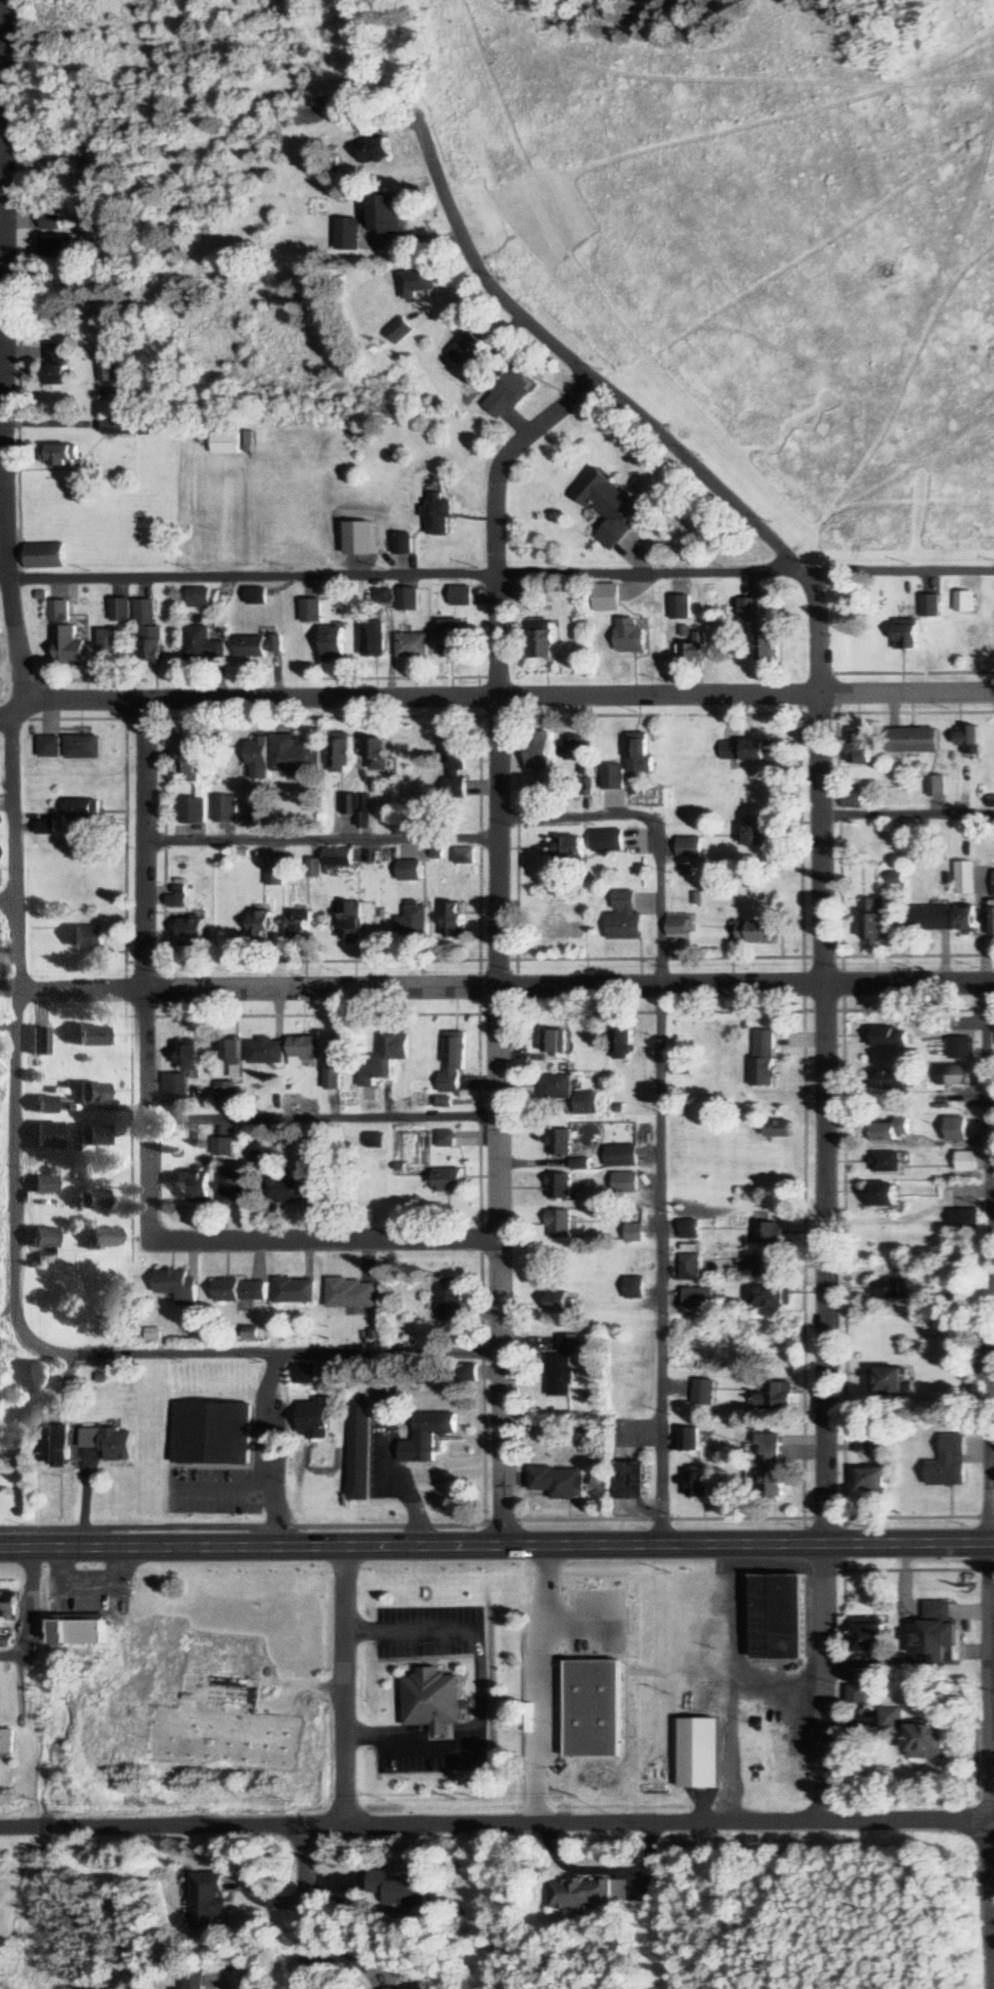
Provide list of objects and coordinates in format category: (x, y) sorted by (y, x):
building: (374, 153)
building: (386, 217)
building: (52, 222)
building: (346, 235)
building: (55, 251)
building: (418, 284)
building: (400, 331)
building: (472, 354)
building: (58, 366)
building: (109, 374)
building: (509, 396)
building: (119, 428)
road: (4, 438)
building: (227, 444)
building: (251, 444)
building: (62, 454)
building: (608, 506)
building: (438, 514)
building: (402, 543)
building: (46, 556)
road: (746, 575)
road: (254, 578)
building: (256, 596)
building: (461, 596)
building: (198, 598)
building: (407, 599)
building: (606, 599)
building: (966, 602)
building: (932, 606)
building: (120, 610)
building: (311, 610)
building: (59, 611)
building: (750, 611)
building: (149, 632)
building: (630, 635)
building: (907, 636)
building: (373, 638)
building: (447, 638)
building: (541, 640)
building: (332, 644)
building: (202, 645)
building: (412, 645)
building: (68, 646)
building: (110, 646)
building: (260, 646)
building: (768, 646)
building: (695, 651)
road: (502, 697)
road: (7, 714)
building: (970, 739)
building: (914, 740)
building: (49, 747)
building: (83, 747)
building: (861, 748)
building: (574, 749)
building: (537, 750)
building: (749, 751)
building: (376, 753)
building: (338, 754)
building: (292, 755)
building: (639, 756)
building: (257, 758)
building: (187, 760)
building: (453, 767)
building: (612, 777)
building: (936, 785)
building: (854, 800)
building: (356, 807)
building: (224, 808)
building: (83, 810)
building: (192, 810)
road: (908, 812)
building: (44, 828)
building: (758, 832)
road: (321, 838)
building: (607, 840)
road: (145, 843)
building: (567, 848)
building: (691, 848)
building: (463, 856)
building: (336, 859)
building: (408, 871)
building: (964, 878)
building: (993, 884)
road: (822, 885)
road: (7, 902)
road: (15, 912)
building: (625, 918)
building: (928, 918)
building: (992, 918)
building: (350, 920)
building: (454, 920)
building: (964, 921)
building: (258, 922)
building: (413, 922)
building: (872, 922)
building: (298, 925)
building: (570, 925)
building: (680, 926)
building: (192, 929)
building: (753, 932)
building: (86, 937)
road: (498, 939)
road: (505, 988)
building: (88, 1036)
building: (885, 1036)
building: (622, 1041)
building: (35, 1042)
building: (555, 1042)
building: (960, 1047)
building: (271, 1050)
building: (304, 1051)
building: (231, 1056)
building: (190, 1057)
building: (385, 1058)
building: (762, 1058)
building: (454, 1061)
building: (677, 1066)
building: (955, 1074)
building: (889, 1079)
building: (556, 1088)
building: (177, 1090)
building: (88, 1093)
building: (227, 1095)
building: (586, 1103)
building: (40, 1105)
road: (661, 1105)
road: (147, 1115)
road: (323, 1117)
building: (772, 1129)
building: (954, 1129)
building: (887, 1131)
building: (43, 1136)
building: (89, 1136)
building: (377, 1141)
building: (560, 1143)
building: (224, 1146)
building: (261, 1153)
building: (621, 1157)
building: (884, 1162)
building: (964, 1162)
building: (450, 1181)
building: (625, 1184)
building: (40, 1186)
building: (190, 1186)
building: (232, 1186)
building: (560, 1187)
building: (286, 1190)
building: (880, 1196)
building: (88, 1200)
building: (961, 1220)
building: (560, 1226)
building: (688, 1230)
building: (767, 1233)
building: (634, 1234)
building: (39, 1239)
building: (99, 1239)
road: (324, 1241)
road: (987, 1264)
building: (690, 1268)
building: (767, 1268)
building: (177, 1287)
building: (634, 1289)
building: (889, 1290)
building: (240, 1291)
building: (295, 1291)
building: (352, 1294)
building: (772, 1298)
building: (698, 1299)
building: (451, 1300)
building: (559, 1302)
building: (562, 1367)
building: (305, 1374)
building: (887, 1380)
building: (704, 1394)
building: (776, 1396)
building: (313, 1417)
building: (211, 1433)
building: (426, 1436)
building: (690, 1440)
building: (107, 1442)
building: (53, 1446)
building: (359, 1448)
building: (955, 1460)
building: (772, 1468)
building: (872, 1479)
building: (630, 1481)
building: (558, 1483)
building: (698, 1486)
road: (251, 1528)
road: (497, 1547)
building: (779, 1617)
building: (592, 1626)
parking lot: (430, 1630)
building: (80, 1633)
building: (870, 1638)
building: (935, 1638)
road: (479, 1683)
road: (348, 1688)
building: (859, 1694)
building: (433, 1698)
building: (892, 1720)
building: (928, 1741)
building: (7, 1743)
parking lot: (434, 1747)
building: (702, 1754)
road: (992, 1765)
road: (497, 1825)
building: (403, 1890)
building: (583, 1894)
building: (208, 1902)
road: (307, 1908)
building: (195, 1981)
building: (392, 1988)

